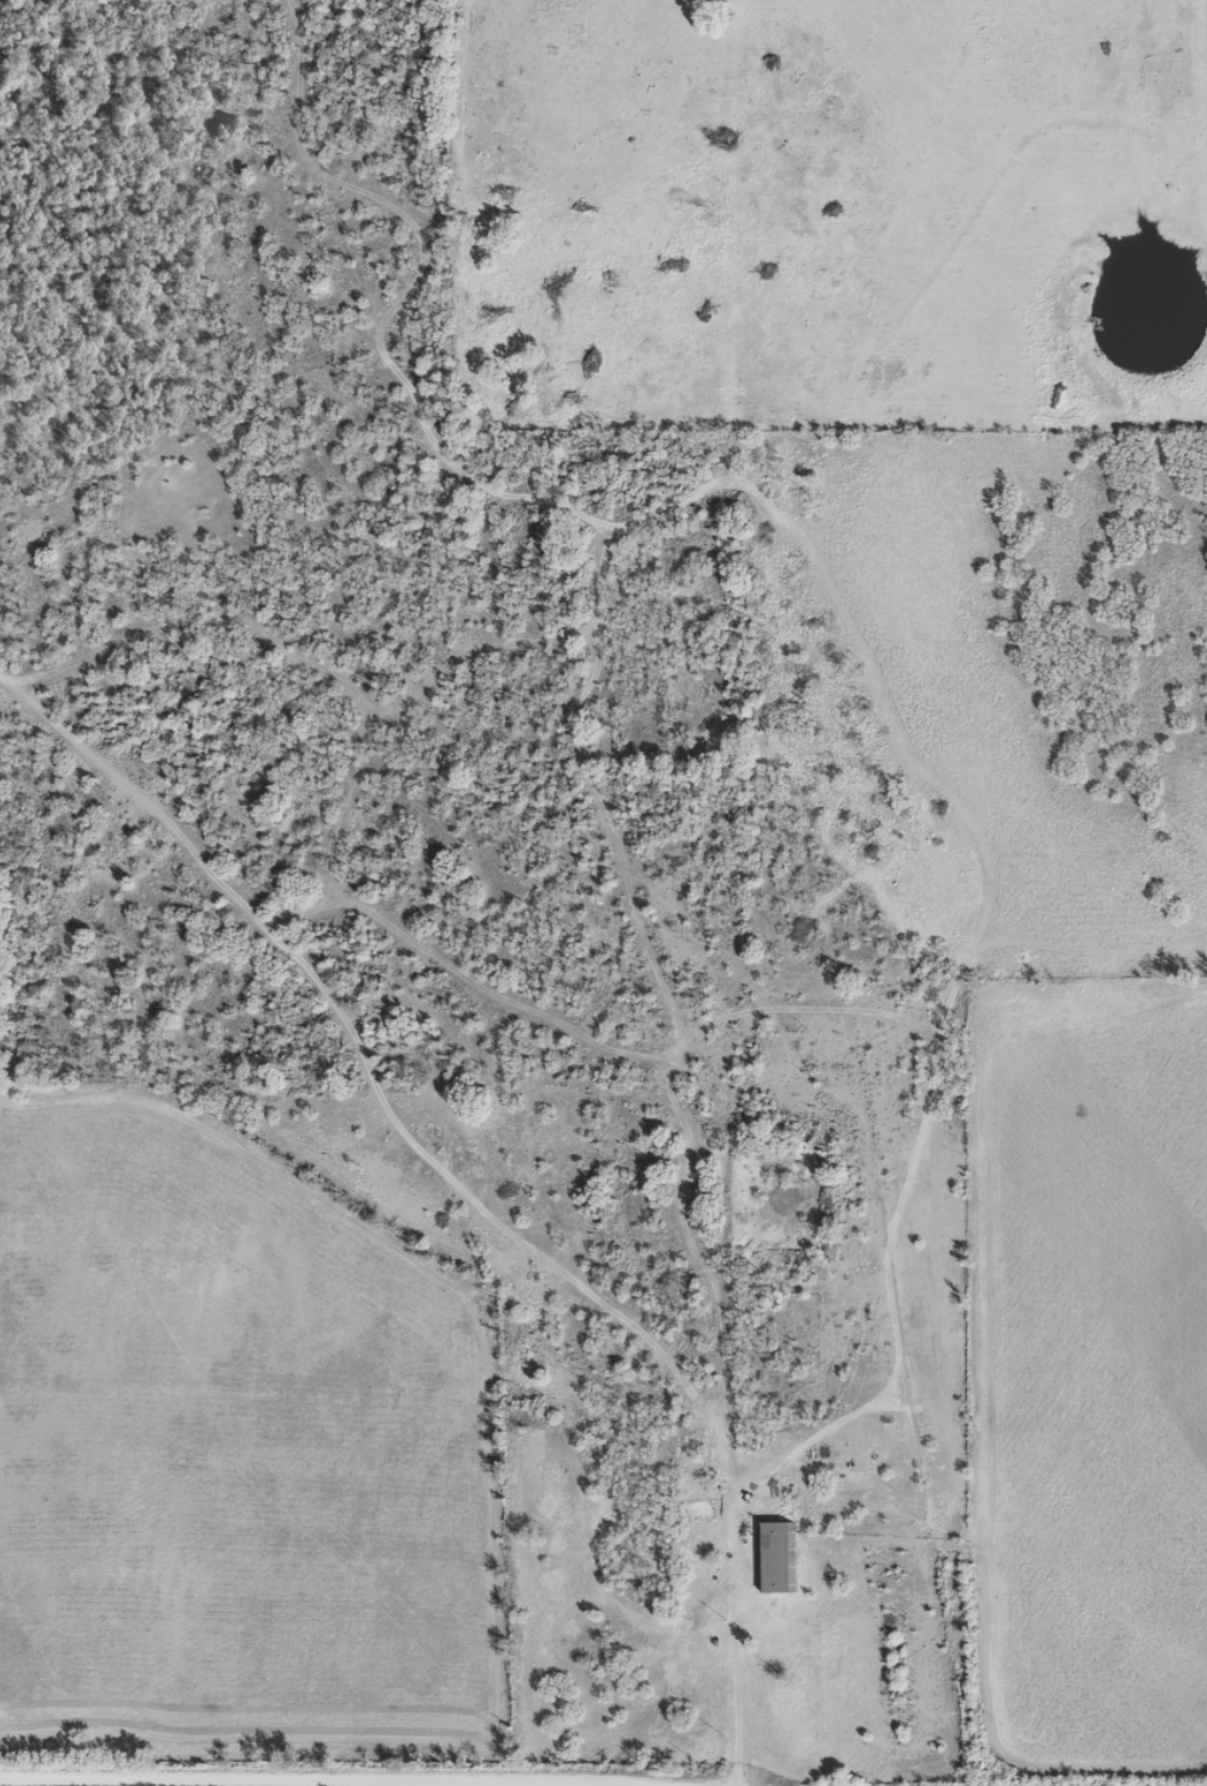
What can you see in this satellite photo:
building: (774, 1567)

